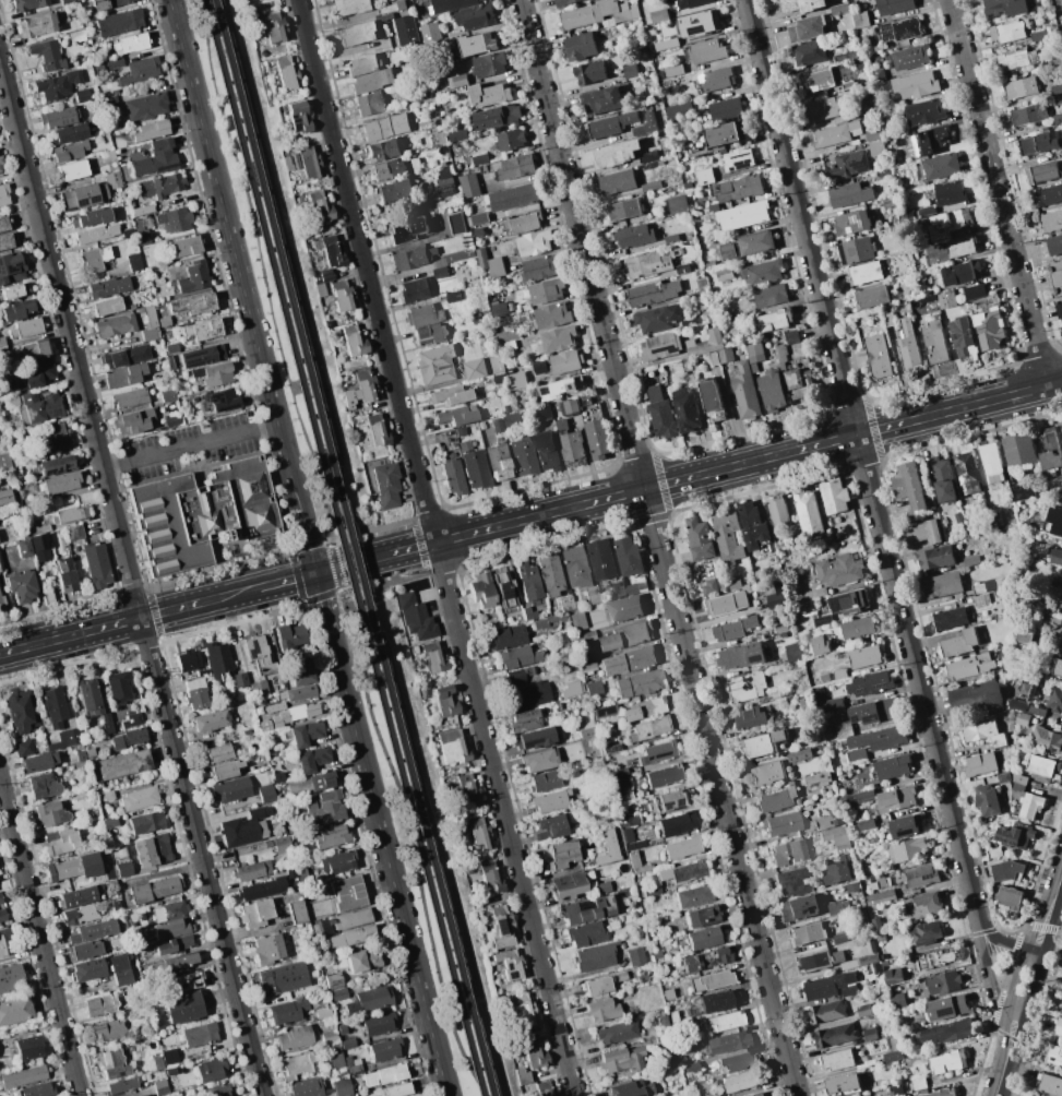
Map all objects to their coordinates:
building: (260, 0)
building: (68, 2)
building: (565, 2)
building: (108, 3)
building: (688, 3)
building: (28, 4)
building: (450, 5)
building: (801, 5)
building: (893, 7)
building: (350, 8)
building: (393, 8)
building: (1004, 8)
building: (840, 9)
building: (625, 13)
building: (87, 14)
building: (587, 14)
building: (659, 15)
building: (475, 17)
building: (860, 20)
rooftop solar panel: (696, 22)
building: (118, 23)
building: (608, 23)
building: (74, 24)
building: (700, 24)
building: (36, 26)
building: (276, 27)
building: (807, 28)
rooftop solar panel: (701, 29)
building: (406, 31)
rooftop solar panel: (885, 31)
building: (1009, 31)
building: (900, 32)
building: (1049, 33)
building: (357, 34)
building: (1038, 35)
rooftop solar panel: (909, 36)
building: (77, 37)
building: (431, 37)
rooftop solar panel: (888, 41)
building: (131, 44)
building: (477, 44)
building: (666, 45)
building: (581, 46)
building: (706, 50)
building: (809, 52)
building: (48, 56)
building: (845, 57)
building: (910, 57)
building: (1017, 59)
building: (117, 61)
building: (867, 63)
building: (489, 64)
building: (363, 65)
building: (858, 65)
building: (99, 68)
building: (140, 71)
building: (630, 71)
building: (673, 71)
building: (288, 72)
building: (589, 72)
building: (876, 76)
building: (717, 80)
building: (816, 80)
building: (372, 81)
building: (457, 81)
building: (58, 84)
building: (847, 85)
building: (915, 86)
building: (1021, 87)
building: (1055, 90)
building: (422, 92)
building: (489, 94)
building: (83, 96)
building: (1057, 99)
building: (601, 100)
building: (110, 103)
building: (370, 103)
building: (145, 106)
building: (726, 109)
building: (821, 109)
building: (857, 109)
building: (434, 110)
building: (678, 110)
building: (923, 112)
building: (1029, 115)
building: (59, 117)
building: (498, 117)
building: (1057, 118)
building: (299, 119)
building: (646, 122)
building: (610, 124)
building: (385, 128)
building: (1059, 128)
building: (151, 130)
building: (69, 133)
building: (872, 133)
building: (721, 134)
building: (836, 134)
building: (457, 135)
building: (931, 139)
building: (510, 141)
building: (116, 145)
building: (1036, 145)
building: (876, 148)
building: (383, 151)
building: (70, 152)
building: (290, 153)
building: (614, 154)
building: (699, 155)
building: (651, 156)
building: (1061, 156)
building: (904, 158)
building: (1, 159)
building: (156, 159)
building: (480, 159)
building: (739, 159)
building: (297, 160)
building: (311, 162)
building: (659, 163)
building: (288, 164)
building: (416, 164)
building: (848, 165)
building: (516, 167)
building: (938, 167)
building: (389, 169)
building: (0, 170)
building: (74, 170)
building: (884, 172)
building: (1041, 172)
building: (704, 176)
building: (444, 177)
building: (114, 180)
building: (618, 182)
building: (159, 186)
building: (469, 186)
building: (688, 186)
building: (651, 187)
building: (677, 189)
building: (739, 189)
building: (396, 190)
rooftop solar panel: (445, 191)
building: (446, 191)
road: (999, 192)
building: (950, 193)
building: (4, 194)
building: (849, 194)
building: (83, 195)
building: (1045, 196)
building: (513, 198)
rooftop solar panel: (92, 201)
building: (891, 201)
building: (300, 202)
rooftop solar panel: (80, 203)
building: (678, 205)
building: (321, 206)
building: (713, 207)
building: (142, 210)
building: (625, 210)
building: (927, 211)
building: (743, 215)
building: (908, 216)
building: (478, 218)
building: (80, 219)
building: (174, 219)
rooftop solar panel: (856, 221)
building: (524, 222)
building: (1051, 222)
building: (5, 223)
building: (854, 223)
building: (139, 224)
building: (457, 224)
building: (948, 224)
building: (409, 230)
building: (895, 231)
building: (129, 233)
building: (96, 234)
building: (634, 236)
building: (143, 237)
building: (671, 239)
building: (8, 240)
building: (535, 242)
building: (750, 245)
building: (1054, 245)
building: (186, 247)
building: (332, 250)
building: (952, 250)
building: (857, 251)
building: (414, 258)
building: (454, 258)
building: (95, 259)
building: (134, 262)
building: (887, 262)
building: (649, 263)
building: (490, 264)
building: (711, 265)
building: (11, 266)
park: (284, 267)
building: (539, 269)
rooftop solar panel: (8, 270)
building: (683, 270)
building: (440, 272)
building: (764, 273)
building: (866, 273)
building: (960, 273)
building: (725, 274)
building: (324, 276)
building: (416, 276)
building: (193, 277)
building: (1054, 278)
building: (703, 283)
road: (244, 287)
building: (102, 288)
building: (321, 290)
building: (415, 290)
building: (15, 291)
building: (547, 291)
building: (975, 291)
building: (653, 293)
building: (343, 295)
building: (771, 296)
building: (453, 297)
building: (872, 297)
building: (947, 300)
building: (193, 305)
building: (107, 307)
building: (17, 309)
building: (499, 309)
building: (887, 309)
building: (1060, 310)
building: (151, 315)
building: (423, 315)
building: (551, 315)
building: (658, 319)
building: (775, 320)
building: (891, 320)
building: (344, 321)
building: (164, 322)
building: (691, 323)
building: (116, 325)
building: (26, 329)
building: (203, 330)
building: (991, 331)
building: (150, 334)
building: (430, 334)
building: (508, 336)
building: (745, 336)
building: (792, 336)
building: (964, 338)
building: (355, 339)
building: (558, 339)
building: (705, 343)
building: (935, 343)
building: (510, 345)
building: (3, 346)
building: (660, 346)
building: (475, 347)
building: (908, 347)
building: (171, 348)
building: (36, 349)
rooftop solar panel: (669, 349)
building: (755, 349)
building: (126, 356)
building: (201, 356)
building: (726, 356)
building: (781, 356)
building: (879, 356)
building: (714, 358)
building: (564, 362)
building: (435, 364)
building: (688, 365)
building: (475, 369)
building: (38, 373)
building: (217, 374)
building: (123, 376)
building: (516, 377)
building: (499, 380)
building: (799, 384)
building: (362, 389)
building: (560, 389)
building: (745, 390)
building: (773, 391)
building: (168, 394)
building: (451, 395)
building: (130, 397)
building: (224, 400)
building: (712, 400)
building: (585, 401)
rooftop solar panel: (681, 405)
building: (35, 406)
building: (571, 406)
building: (688, 410)
building: (544, 413)
building: (661, 413)
rooftop solar panel: (685, 414)
building: (456, 416)
building: (172, 420)
building: (512, 421)
building: (1061, 422)
building: (129, 424)
building: (1061, 425)
rooftop solar panel: (681, 427)
building: (378, 429)
building: (461, 431)
building: (57, 434)
building: (598, 439)
building: (570, 444)
road: (191, 445)
parking lot: (189, 446)
building: (1049, 448)
building: (4, 449)
building: (1019, 450)
building: (547, 452)
road: (205, 455)
building: (523, 455)
road: (861, 455)
building: (990, 458)
building: (499, 461)
building: (5, 462)
road: (177, 463)
building: (56, 465)
building: (474, 465)
road: (196, 468)
building: (16, 470)
building: (967, 472)
building: (453, 476)
road: (690, 479)
building: (942, 479)
building: (61, 483)
building: (387, 484)
building: (908, 486)
building: (1022, 491)
building: (5, 497)
building: (834, 497)
building: (989, 499)
building: (932, 509)
building: (808, 513)
building: (1055, 513)
building: (70, 514)
building: (202, 514)
building: (778, 514)
building: (967, 516)
building: (957, 519)
building: (995, 519)
building: (752, 526)
building: (1054, 528)
building: (923, 532)
building: (74, 533)
building: (727, 537)
building: (699, 538)
building: (798, 544)
road: (438, 547)
road: (660, 547)
building: (25, 548)
building: (40, 548)
railway: (344, 548)
railway: (353, 548)
road: (335, 556)
building: (629, 557)
building: (934, 558)
building: (1055, 558)
building: (602, 560)
building: (971, 561)
building: (97, 564)
building: (575, 568)
building: (839, 570)
building: (64, 574)
traffic signals: (318, 574)
building: (550, 574)
road: (132, 576)
road: (288, 581)
building: (529, 581)
building: (1000, 583)
building: (735, 584)
building: (643, 585)
building: (941, 585)
building: (989, 585)
building: (22, 586)
building: (1055, 586)
building: (709, 587)
building: (505, 588)
building: (632, 588)
building: (978, 588)
building: (618, 589)
building: (482, 591)
building: (3, 592)
building: (999, 593)
road: (239, 594)
building: (811, 595)
building: (593, 596)
building: (777, 596)
building: (49, 598)
building: (980, 599)
building: (850, 600)
building: (566, 604)
building: (727, 604)
building: (624, 609)
building: (529, 613)
building: (948, 618)
building: (416, 619)
building: (1052, 619)
building: (549, 621)
building: (578, 621)
building: (822, 621)
road: (109, 627)
building: (859, 627)
building: (781, 628)
building: (735, 629)
building: (633, 634)
building: (289, 636)
building: (509, 636)
building: (1024, 636)
building: (584, 638)
building: (606, 642)
building: (959, 643)
building: (820, 645)
building: (1061, 645)
rooftop solar panel: (254, 646)
building: (792, 652)
rooftop solar panel: (250, 653)
building: (259, 655)
building: (741, 655)
building: (866, 656)
building: (218, 657)
building: (434, 657)
building: (517, 657)
rooftop solar panel: (756, 659)
building: (188, 660)
building: (634, 660)
building: (588, 664)
building: (969, 667)
building: (1055, 667)
building: (816, 670)
building: (202, 671)
building: (299, 671)
building: (1029, 671)
building: (839, 674)
building: (516, 677)
building: (240, 679)
building: (640, 683)
building: (870, 683)
rooftop solar panel: (882, 686)
building: (119, 687)
building: (594, 688)
building: (747, 688)
building: (260, 689)
building: (572, 689)
rooftop solar panel: (859, 690)
building: (778, 692)
building: (298, 693)
building: (196, 694)
building: (532, 695)
building: (88, 696)
building: (1055, 699)
building: (445, 701)
building: (976, 701)
building: (1017, 704)
building: (55, 705)
building: (804, 705)
building: (830, 705)
building: (651, 706)
building: (275, 707)
building: (311, 710)
building: (605, 711)
building: (1037, 711)
building: (296, 712)
building: (875, 712)
building: (21, 714)
building: (284, 716)
building: (752, 717)
building: (134, 718)
building: (525, 719)
building: (1023, 719)
rooftop solar panel: (856, 720)
building: (211, 722)
rooftop solar panel: (867, 722)
building: (277, 723)
building: (107, 724)
building: (126, 724)
building: (651, 728)
building: (314, 729)
building: (844, 729)
building: (979, 730)
building: (587, 732)
building: (296, 736)
building: (71, 737)
building: (131, 737)
building: (535, 738)
building: (999, 741)
building: (1047, 741)
building: (874, 742)
building: (762, 743)
building: (454, 746)
building: (24, 748)
building: (612, 749)
building: (91, 752)
building: (657, 752)
building: (219, 753)
building: (321, 755)
building: (799, 755)
building: (75, 757)
building: (90, 761)
building: (539, 761)
building: (39, 762)
building: (306, 762)
building: (981, 764)
building: (81, 765)
building: (123, 765)
building: (892, 767)
building: (1041, 769)
building: (226, 770)
building: (621, 772)
building: (641, 774)
building: (767, 774)
building: (262, 776)
building: (665, 776)
building: (329, 777)
building: (1003, 777)
building: (818, 778)
building: (278, 779)
building: (1019, 779)
building: (545, 782)
building: (261, 784)
building: (306, 785)
building: (45, 786)
building: (624, 788)
building: (469, 789)
building: (231, 790)
building: (1017, 790)
building: (267, 794)
building: (105, 797)
building: (866, 797)
building: (140, 798)
building: (896, 800)
building: (551, 801)
building: (667, 801)
building: (776, 801)
building: (987, 801)
building: (1030, 806)
building: (331, 807)
building: (94, 812)
building: (52, 813)
building: (836, 818)
building: (628, 820)
building: (110, 823)
building: (146, 823)
building: (781, 823)
building: (824, 823)
building: (867, 824)
building: (676, 825)
building: (246, 827)
building: (551, 827)
building: (904, 827)
building: (479, 833)
road: (382, 834)
building: (627, 835)
building: (333, 836)
rooftop solar panel: (1002, 836)
building: (1015, 836)
building: (837, 839)
rooftop solar panel: (1014, 839)
building: (62, 841)
park: (430, 844)
building: (611, 844)
building: (283, 845)
building: (636, 845)
building: (683, 847)
building: (159, 848)
building: (907, 850)
building: (789, 853)
building: (994, 854)
building: (563, 855)
building: (850, 856)
building: (122, 860)
building: (597, 860)
building: (338, 861)
building: (637, 863)
building: (70, 868)
building: (124, 869)
building: (252, 870)
building: (290, 870)
building: (1006, 870)
building: (689, 871)
building: (836, 872)
building: (302, 874)
building: (664, 874)
rooftop solar panel: (927, 875)
building: (492, 877)
building: (920, 877)
building: (88, 879)
building: (568, 882)
building: (789, 882)
building: (882, 882)
building: (874, 885)
building: (616, 886)
building: (604, 887)
building: (852, 887)
building: (155, 889)
building: (259, 891)
building: (649, 891)
building: (347, 894)
building: (695, 895)
building: (81, 896)
building: (881, 897)
building: (1011, 897)
building: (1, 903)
building: (927, 905)
building: (110, 906)
rooftop solar panel: (583, 906)
building: (798, 907)
building: (837, 907)
road: (1050, 908)
building: (589, 909)
building: (170, 910)
rooftop solar panel: (810, 912)
building: (298, 913)
building: (255, 914)
building: (80, 915)
building: (702, 916)
building: (3, 918)
building: (353, 918)
rooftop solar panel: (813, 918)
building: (326, 925)
building: (876, 925)
building: (502, 927)
building: (171, 929)
building: (318, 929)
rooftop solar panel: (501, 929)
road: (40, 931)
building: (94, 931)
building: (590, 931)
building: (926, 932)
building: (143, 934)
building: (808, 934)
building: (855, 934)
building: (353, 938)
building: (703, 938)
building: (840, 938)
building: (881, 938)
building: (135, 939)
road: (999, 939)
building: (7, 942)
building: (860, 942)
building: (175, 944)
building: (870, 945)
building: (267, 949)
building: (85, 951)
building: (657, 954)
building: (720, 954)
building: (884, 955)
building: (596, 956)
building: (636, 956)
building: (838, 956)
building: (363, 960)
building: (868, 960)
building: (931, 960)
building: (179, 961)
building: (814, 961)
building: (511, 963)
building: (884, 964)
building: (685, 965)
building: (847, 965)
building: (88, 969)
building: (120, 969)
building: (876, 969)
road: (985, 970)
building: (296, 975)
building: (622, 976)
building: (893, 976)
building: (11, 977)
building: (716, 979)
road: (1015, 979)
rooftop solar panel: (193, 980)
building: (334, 980)
building: (273, 981)
building: (183, 982)
building: (943, 982)
road: (1033, 984)
rooftop solar panel: (196, 986)
building: (317, 986)
building: (597, 986)
building: (670, 986)
building: (828, 987)
rooftop solar panel: (183, 988)
building: (339, 993)
building: (672, 996)
building: (372, 999)
building: (721, 1000)
building: (897, 1001)
traffic signals: (993, 1002)
building: (318, 1003)
building: (681, 1003)
building: (100, 1005)
building: (183, 1006)
building: (1061, 1006)
building: (948, 1008)
building: (15, 1010)
building: (525, 1010)
building: (602, 1010)
building: (287, 1011)
building: (863, 1011)
building: (322, 1012)
building: (827, 1012)
building: (727, 1021)
building: (868, 1022)
building: (379, 1024)
building: (1058, 1027)
building: (343, 1028)
building: (107, 1031)
building: (617, 1032)
building: (946, 1032)
building: (200, 1035)
building: (836, 1035)
building: (870, 1035)
building: (294, 1037)
building: (330, 1037)
building: (684, 1037)
building: (729, 1043)
building: (348, 1044)
building: (897, 1047)
building: (27, 1048)
building: (385, 1049)
building: (535, 1053)
building: (336, 1056)
building: (888, 1056)
building: (170, 1057)
road: (1005, 1057)
building: (1054, 1057)
building: (112, 1058)
rooftop solar panel: (1052, 1058)
building: (623, 1060)
building: (837, 1060)
building: (349, 1061)
building: (356, 1061)
building: (157, 1062)
building: (672, 1062)
building: (736, 1062)
building: (947, 1062)
building: (299, 1065)
building: (135, 1067)
building: (692, 1068)
building: (355, 1069)
building: (212, 1070)
building: (170, 1071)
building: (117, 1072)
building: (385, 1075)
building: (522, 1076)
building: (23, 1077)
building: (742, 1081)
building: (175, 1084)
building: (918, 1084)
building: (1049, 1084)
building: (123, 1085)
building: (844, 1085)
building: (160, 1087)
building: (307, 1087)
building: (342, 1087)
building: (546, 1088)
building: (632, 1088)
building: (38, 1089)
building: (398, 1089)
building: (215, 1091)
building: (942, 1093)
building: (713, 1094)
building: (759, 1094)
building: (141, 1095)
building: (858, 1095)

